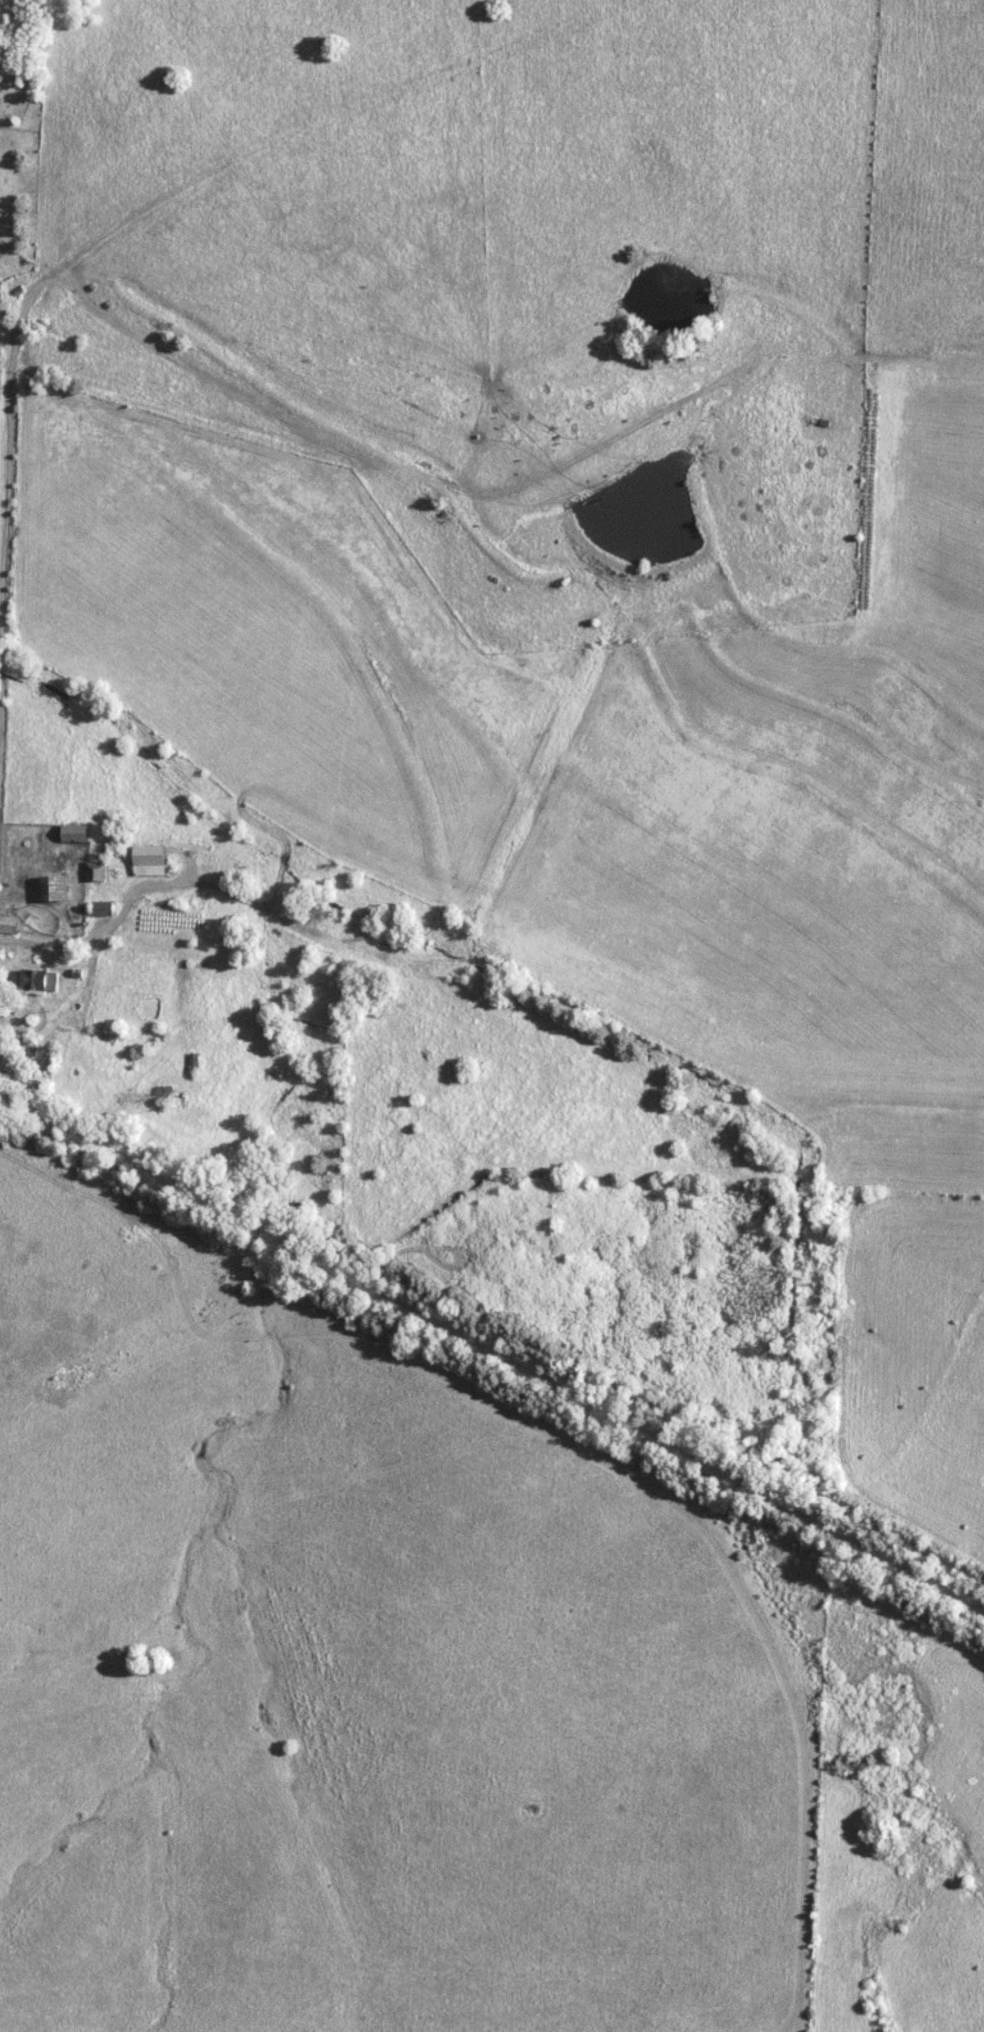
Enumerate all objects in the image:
road: (8, 421)
building: (72, 833)
building: (147, 860)
building: (93, 871)
building: (50, 888)
building: (101, 908)
building: (8, 924)
road: (93, 928)
building: (36, 979)
building: (193, 1059)
building: (163, 1096)

